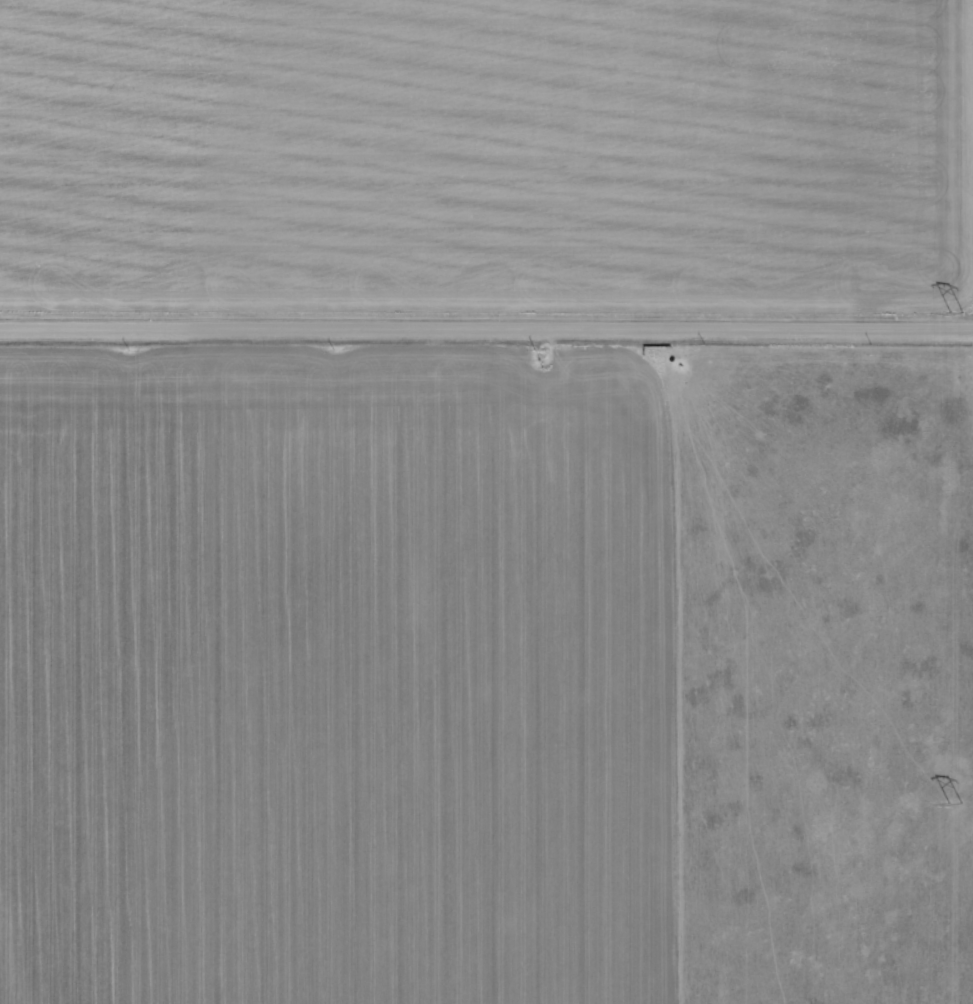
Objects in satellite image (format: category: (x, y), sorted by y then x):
power tower: (960, 310)
road: (486, 331)
power tower: (954, 804)

